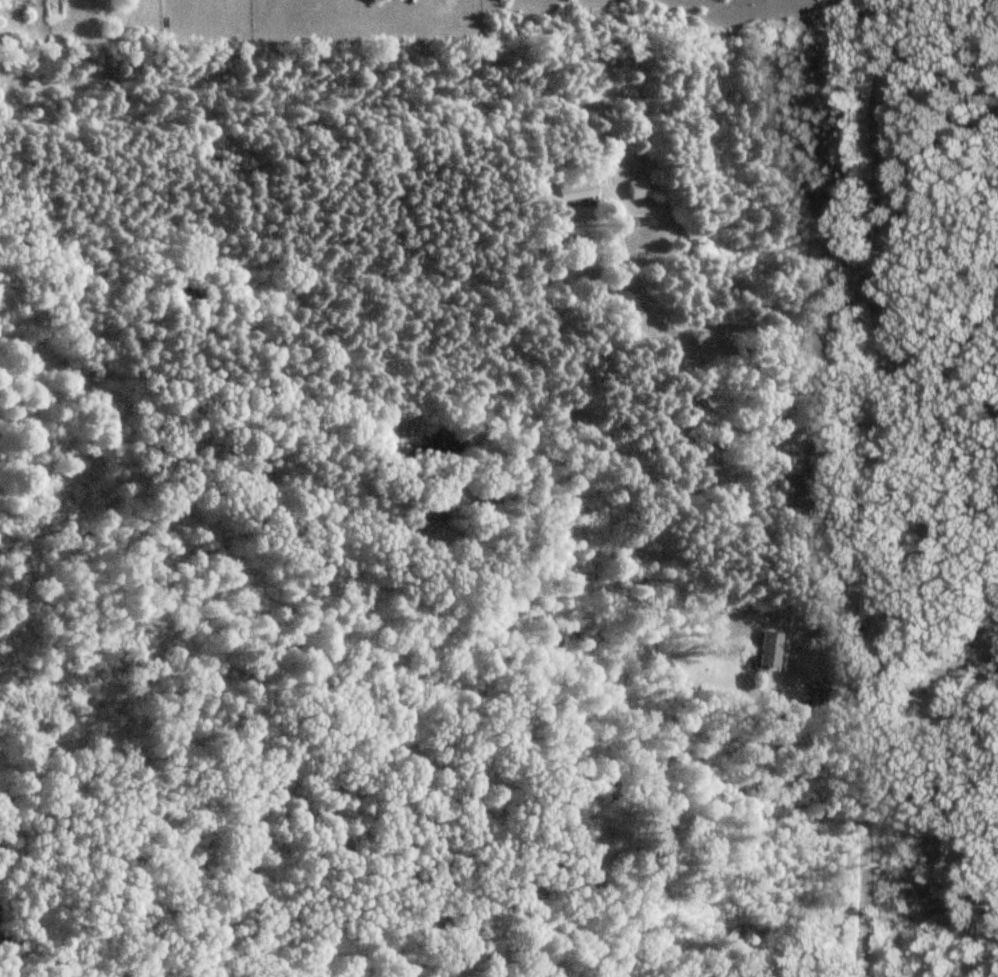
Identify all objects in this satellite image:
building: (571, 189)
building: (636, 190)
building: (632, 318)
road: (715, 333)
road: (942, 345)
road: (883, 488)
building: (799, 491)
building: (428, 509)
building: (769, 650)
building: (796, 700)

